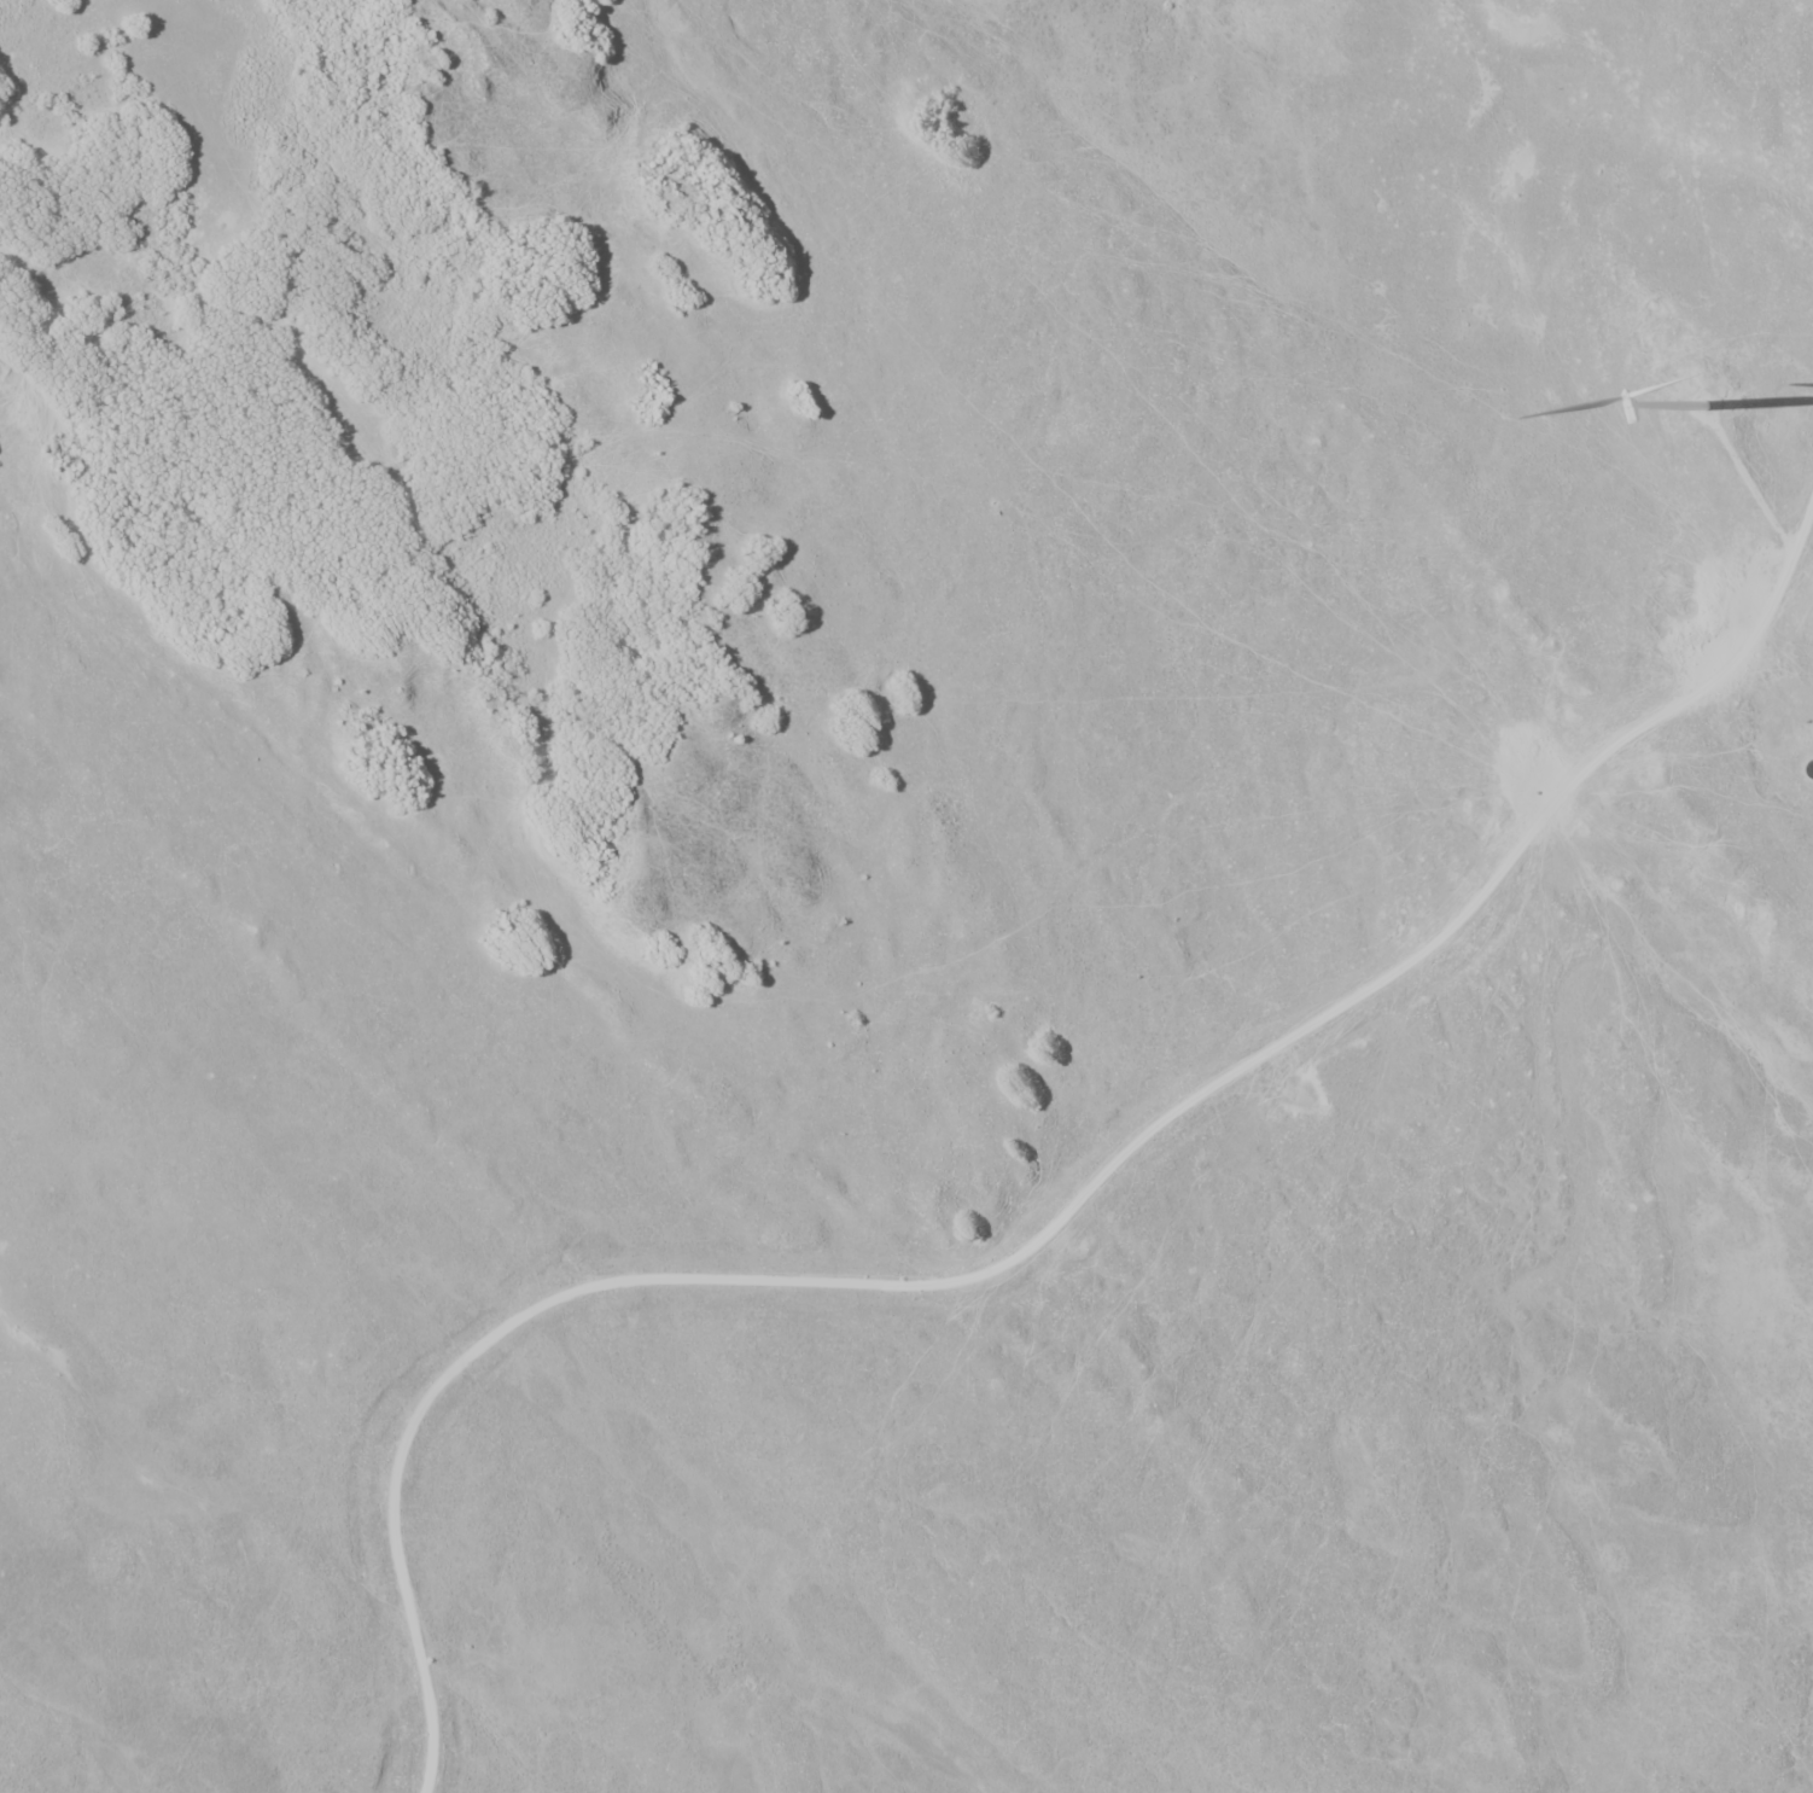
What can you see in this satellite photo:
wind turbine: (1714, 403)

